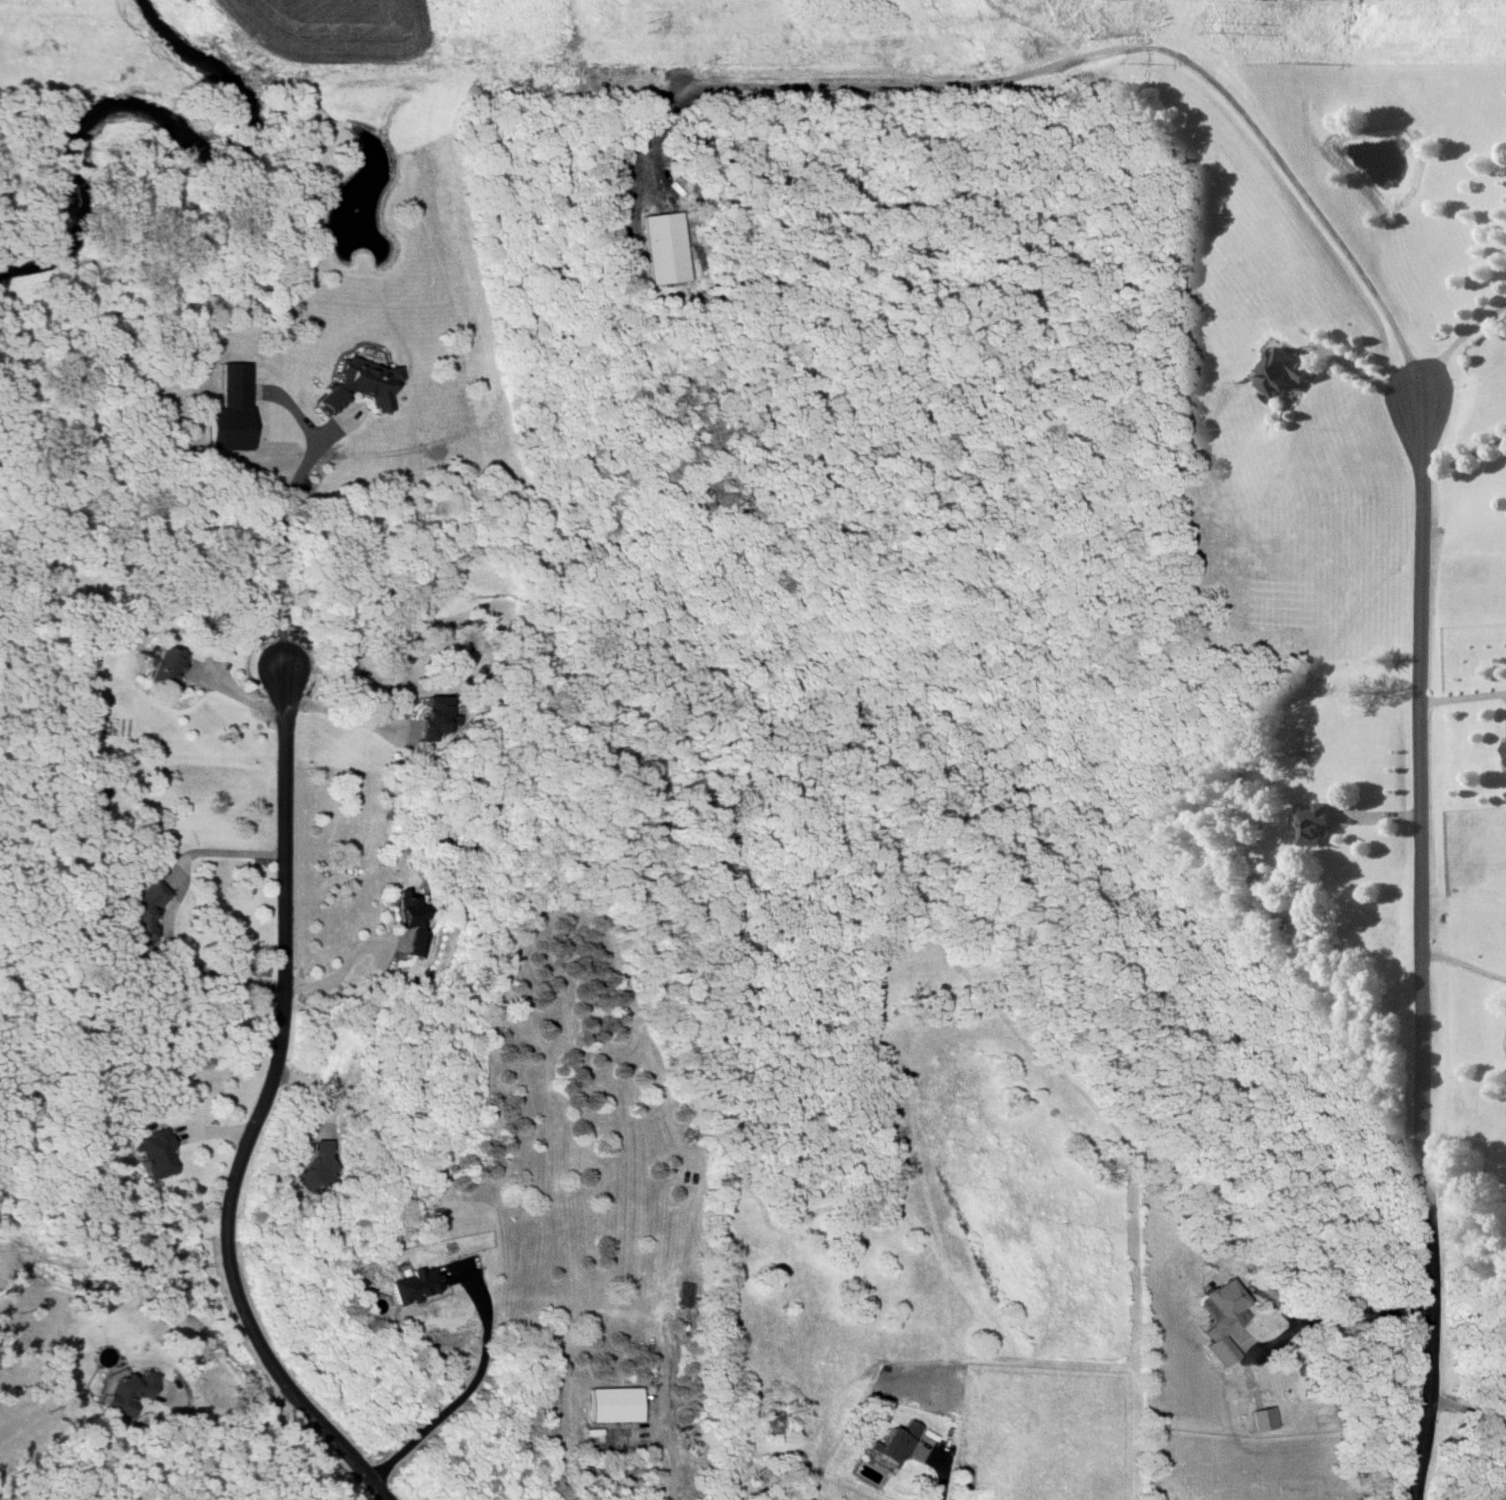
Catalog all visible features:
power tower: (1220, 26)
power tower: (641, 32)
road: (879, 86)
building: (664, 248)
road: (1461, 342)
building: (1282, 371)
road: (1366, 376)
building: (357, 385)
building: (227, 410)
road: (1466, 458)
road: (271, 552)
building: (162, 667)
road: (234, 688)
road: (1465, 700)
road: (342, 714)
building: (432, 716)
road: (1425, 734)
building: (1505, 750)
building: (94, 796)
building: (1315, 823)
road: (169, 912)
building: (139, 914)
building: (411, 928)
road: (1466, 965)
road: (334, 977)
road: (252, 1113)
building: (151, 1152)
building: (317, 1168)
building: (413, 1284)
road: (1341, 1321)
building: (1223, 1322)
building: (125, 1393)
road: (459, 1396)
building: (614, 1404)
road: (1464, 1413)
building: (1262, 1418)
road: (232, 1424)
building: (910, 1428)
building: (891, 1447)
road: (670, 1465)
road: (935, 1479)

